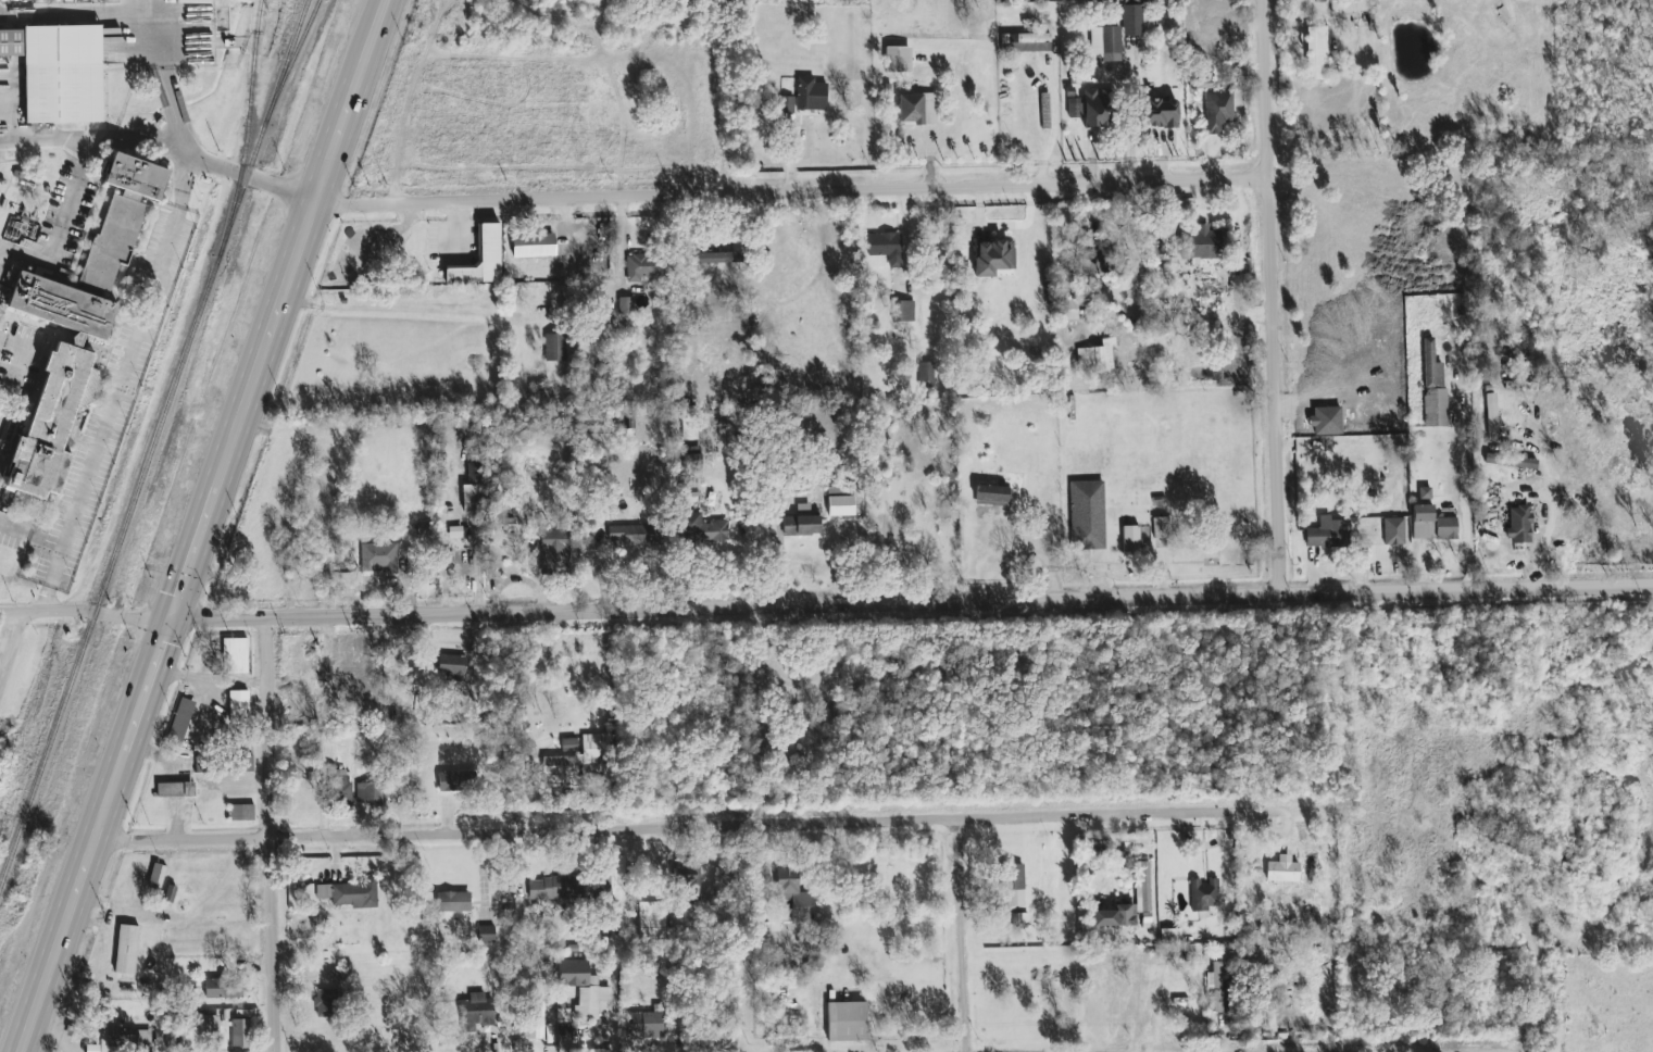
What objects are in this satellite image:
building: (1350, 5)
road: (92, 18)
road: (1167, 39)
building: (1105, 40)
building: (1026, 42)
building: (11, 43)
building: (1317, 53)
building: (898, 60)
building: (63, 75)
road: (159, 77)
building: (811, 95)
building: (788, 104)
building: (1075, 108)
building: (1099, 108)
building: (917, 109)
building: (1045, 111)
building: (1218, 111)
building: (1160, 113)
road: (1061, 122)
railway: (245, 129)
road: (624, 193)
road: (59, 224)
road: (459, 229)
building: (1206, 242)
building: (534, 246)
building: (886, 248)
building: (1097, 256)
building: (717, 258)
building: (993, 258)
building: (481, 259)
building: (643, 267)
road: (1269, 297)
building: (626, 305)
building: (903, 311)
building: (78, 326)
building: (555, 348)
building: (1097, 356)
building: (927, 375)
road: (118, 376)
building: (1433, 388)
building: (1491, 415)
building: (689, 424)
railway: (153, 441)
building: (692, 458)
building: (1511, 461)
road: (1462, 479)
building: (840, 490)
building: (1425, 493)
building: (993, 496)
building: (471, 498)
building: (1156, 501)
building: (841, 506)
road: (1552, 512)
building: (1088, 515)
building: (500, 517)
building: (1423, 522)
road: (202, 524)
building: (1519, 525)
building: (801, 526)
building: (1159, 526)
building: (1447, 528)
building: (702, 529)
building: (1393, 531)
building: (1328, 534)
building: (636, 535)
building: (1129, 537)
road: (1426, 551)
building: (554, 553)
building: (378, 558)
road: (911, 604)
road: (85, 612)
road: (8, 653)
building: (234, 657)
building: (336, 666)
building: (451, 666)
building: (239, 706)
building: (181, 718)
building: (569, 744)
building: (579, 757)
building: (248, 764)
building: (452, 781)
building: (339, 788)
building: (175, 790)
building: (370, 793)
building: (243, 812)
road: (694, 827)
road: (267, 836)
building: (1282, 869)
road: (480, 872)
building: (156, 877)
building: (1015, 886)
building: (1142, 887)
building: (555, 888)
building: (690, 889)
building: (350, 893)
building: (793, 893)
building: (1204, 894)
building: (447, 899)
building: (1125, 915)
building: (652, 919)
building: (487, 935)
road: (959, 936)
road: (738, 939)
building: (125, 949)
building: (223, 987)
building: (584, 989)
building: (1218, 990)
building: (328, 998)
road: (1229, 1009)
building: (476, 1010)
building: (563, 1016)
building: (537, 1020)
building: (847, 1022)
building: (202, 1023)
building: (647, 1024)
building: (214, 1025)
building: (241, 1036)
building: (122, 1038)
building: (145, 1038)
building: (171, 1041)
road: (1470, 1051)

